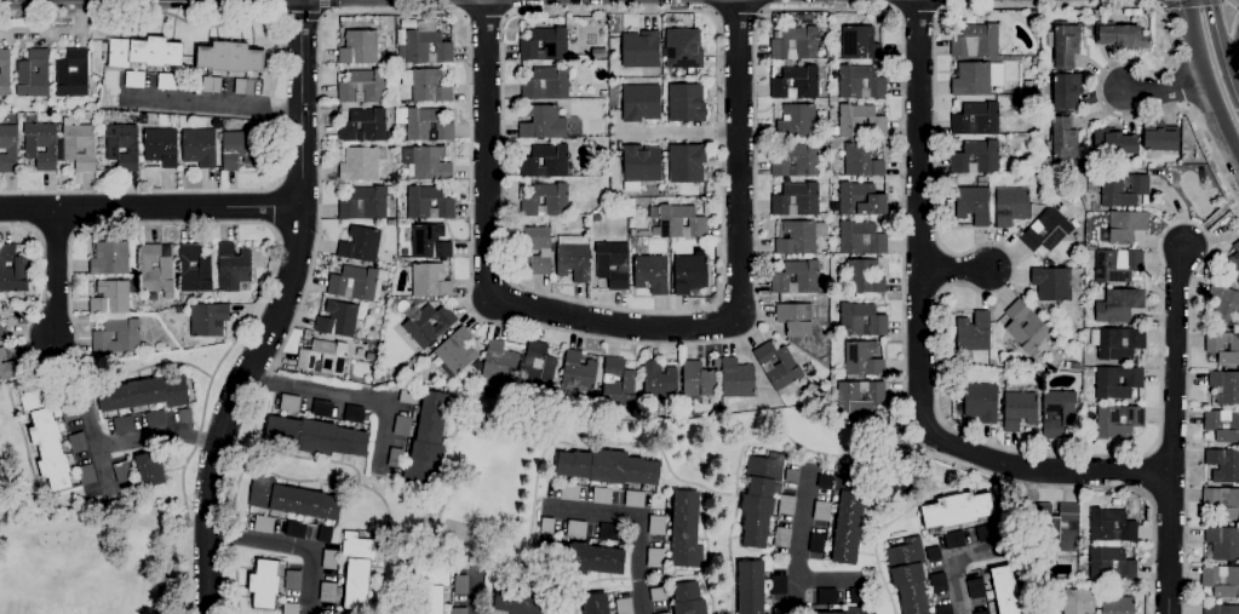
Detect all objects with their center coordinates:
road: (322, 7)
road: (918, 12)
road: (736, 15)
building: (1097, 15)
building: (1033, 16)
road: (298, 17)
road: (57, 34)
building: (775, 35)
building: (1120, 36)
building: (975, 41)
building: (795, 44)
building: (859, 44)
building: (544, 45)
building: (1065, 45)
building: (358, 47)
building: (426, 47)
road: (1222, 47)
building: (683, 48)
building: (639, 51)
building: (825, 51)
building: (143, 53)
building: (598, 53)
building: (228, 57)
building: (391, 61)
road: (1235, 61)
building: (1033, 62)
building: (5, 73)
road: (1208, 74)
building: (33, 75)
building: (71, 75)
building: (976, 79)
building: (134, 80)
building: (166, 81)
building: (860, 82)
building: (545, 84)
building: (796, 84)
building: (211, 85)
building: (426, 85)
building: (1027, 86)
building: (242, 87)
building: (362, 87)
building: (391, 87)
building: (1066, 90)
road: (1164, 90)
road: (271, 99)
road: (212, 103)
building: (641, 104)
building: (687, 107)
building: (88, 116)
building: (975, 119)
building: (142, 120)
building: (797, 122)
building: (860, 122)
building: (543, 124)
building: (425, 125)
building: (362, 126)
road: (676, 133)
building: (1159, 137)
building: (1063, 138)
building: (1111, 142)
building: (121, 143)
building: (40, 145)
building: (76, 145)
building: (160, 147)
building: (199, 148)
building: (8, 149)
building: (237, 149)
building: (976, 157)
building: (861, 160)
building: (796, 161)
building: (426, 162)
building: (545, 162)
building: (361, 163)
building: (686, 163)
building: (641, 165)
building: (1003, 177)
building: (981, 180)
building: (1122, 189)
building: (1068, 197)
building: (796, 200)
building: (860, 200)
building: (545, 201)
building: (363, 203)
building: (428, 203)
building: (973, 205)
building: (1057, 205)
building: (1010, 206)
road: (270, 207)
road: (1178, 207)
road: (149, 208)
building: (950, 208)
building: (653, 213)
building: (596, 218)
road: (1208, 220)
building: (390, 223)
building: (678, 223)
road: (212, 224)
building: (1123, 228)
building: (1045, 231)
building: (643, 234)
building: (798, 237)
building: (860, 239)
building: (429, 242)
building: (360, 245)
building: (535, 248)
building: (573, 258)
building: (109, 259)
building: (1233, 263)
building: (612, 264)
building: (1115, 265)
building: (231, 268)
road: (956, 269)
building: (12, 270)
building: (155, 270)
building: (194, 270)
road: (55, 272)
building: (650, 274)
building: (689, 274)
building: (796, 277)
building: (862, 277)
building: (429, 281)
building: (352, 283)
building: (1051, 283)
road: (943, 289)
building: (110, 298)
road: (718, 298)
building: (1118, 306)
building: (1222, 306)
road: (277, 312)
building: (207, 320)
building: (338, 320)
building: (795, 320)
building: (860, 320)
building: (426, 323)
road: (625, 326)
building: (1025, 327)
building: (973, 333)
building: (2, 334)
building: (117, 335)
road: (711, 340)
road: (919, 342)
building: (1117, 343)
building: (1214, 348)
building: (455, 351)
building: (2, 354)
building: (371, 356)
building: (322, 358)
building: (861, 358)
building: (414, 361)
building: (499, 365)
building: (776, 366)
building: (1073, 366)
building: (537, 368)
building: (7, 371)
building: (406, 371)
building: (578, 373)
building: (836, 377)
building: (736, 379)
building: (696, 380)
building: (1117, 383)
building: (616, 384)
building: (659, 384)
building: (1224, 388)
building: (144, 394)
road: (343, 396)
building: (537, 396)
building: (407, 397)
building: (857, 397)
building: (980, 402)
building: (289, 403)
building: (321, 409)
building: (1017, 411)
building: (69, 412)
building: (1056, 413)
building: (354, 414)
building: (184, 417)
building: (154, 419)
building: (1118, 421)
building: (122, 425)
building: (1222, 425)
building: (401, 426)
road: (1171, 429)
road: (156, 437)
building: (316, 437)
building: (46, 438)
building: (426, 442)
building: (78, 443)
road: (96, 451)
building: (395, 458)
building: (1223, 465)
building: (608, 467)
building: (150, 470)
building: (122, 472)
building: (86, 475)
building: (791, 476)
building: (824, 482)
building: (569, 493)
building: (601, 495)
building: (759, 498)
building: (633, 499)
building: (292, 500)
building: (1210, 504)
building: (786, 505)
building: (956, 510)
building: (821, 511)
building: (848, 516)
building: (263, 524)
building: (655, 526)
building: (1111, 526)
building: (546, 527)
road: (639, 527)
building: (1057, 527)
building: (575, 529)
building: (296, 530)
building: (684, 530)
building: (608, 533)
building: (986, 534)
building: (323, 535)
building: (781, 538)
road: (262, 540)
building: (953, 540)
building: (1223, 543)
building: (816, 544)
road: (798, 545)
building: (933, 555)
building: (578, 558)
building: (654, 558)
building: (328, 560)
park: (96, 561)
road: (953, 562)
building: (1111, 566)
building: (356, 569)
building: (908, 575)
building: (434, 576)
building: (293, 580)
road: (310, 581)
building: (1221, 581)
building: (264, 584)
road: (828, 584)
building: (937, 584)
building: (460, 585)
building: (778, 585)
building: (750, 587)
building: (975, 589)
building: (1004, 591)
building: (327, 592)
building: (658, 595)
road: (481, 596)
building: (855, 596)
building: (826, 597)
building: (688, 599)
building: (431, 601)
building: (526, 601)
building: (1078, 602)
building: (595, 604)
building: (624, 606)
building: (1117, 606)
building: (291, 608)
building: (943, 609)
building: (1220, 609)
building: (458, 610)
building: (849, 610)
building: (780, 612)
building: (665, 613)
building: (982, 613)

